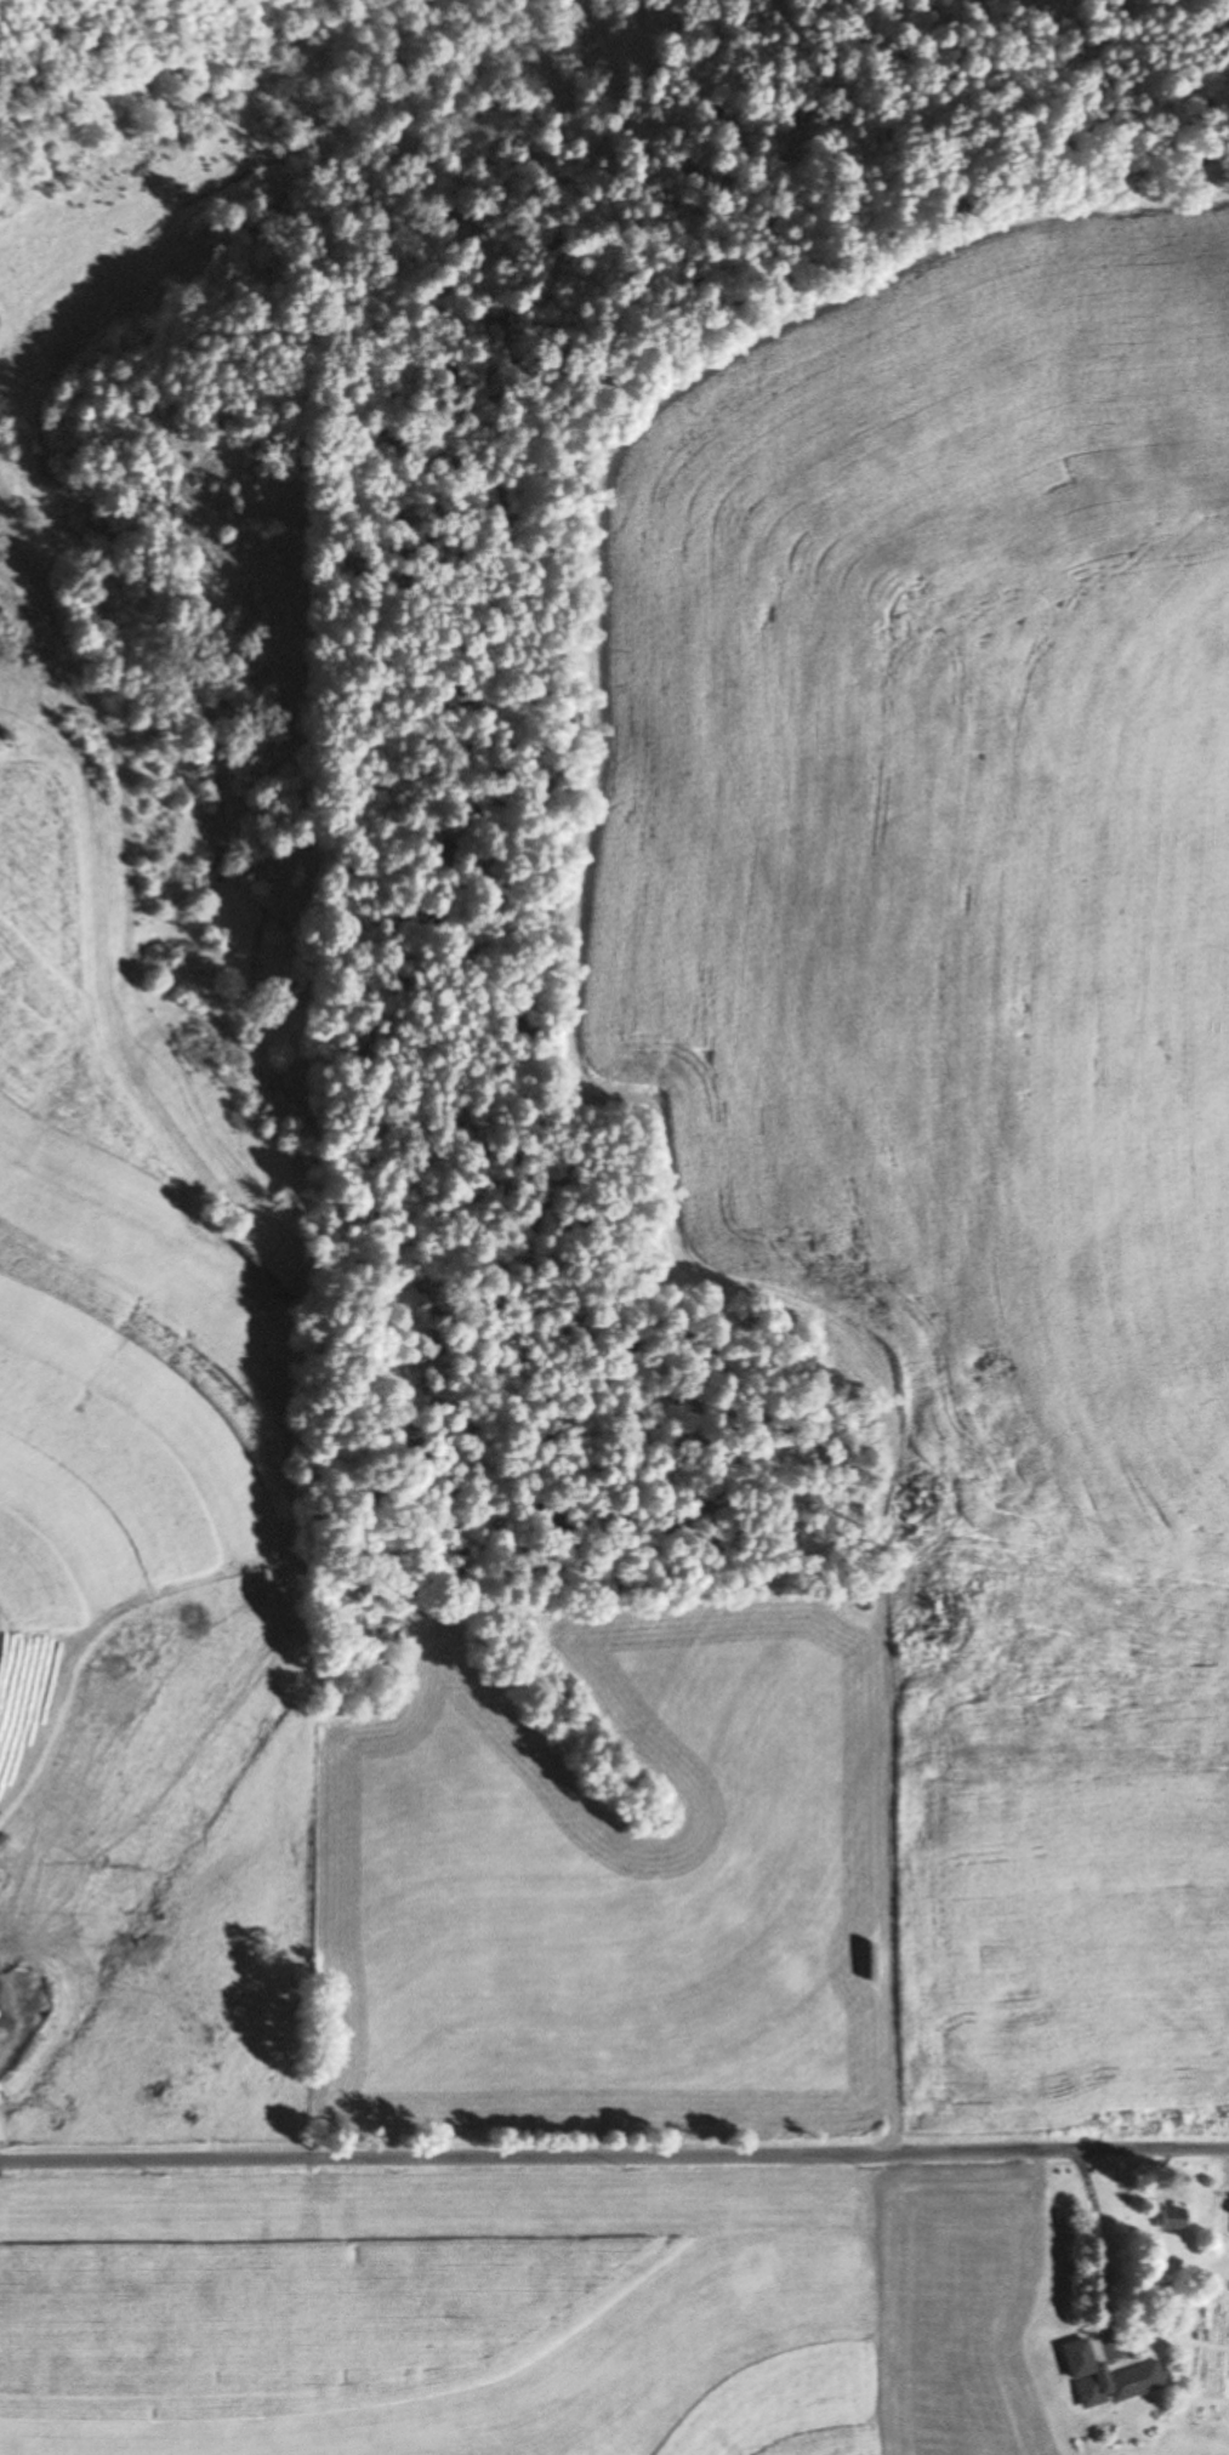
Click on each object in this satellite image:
crop: (935, 844)
crop: (57, 980)
crop: (388, 1784)
road: (894, 1907)
crop: (1062, 1956)
building: (169, 2106)
road: (614, 2153)
building: (1168, 2217)
crop: (960, 2297)
crop: (442, 2305)
building: (1104, 2377)

